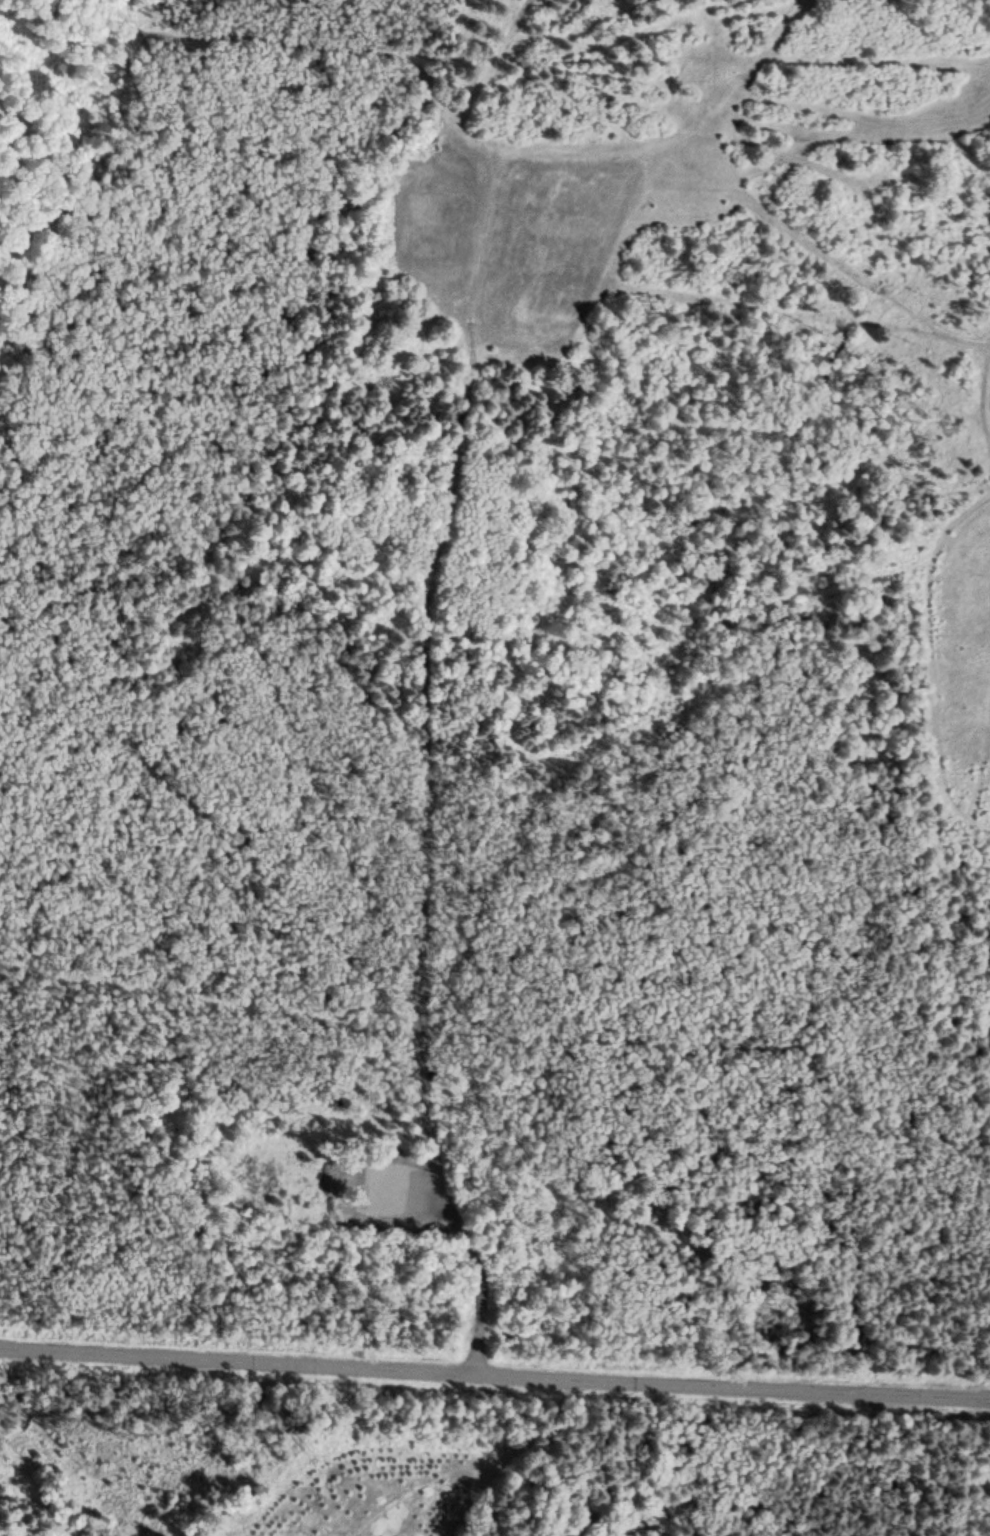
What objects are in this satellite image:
road: (494, 1378)

